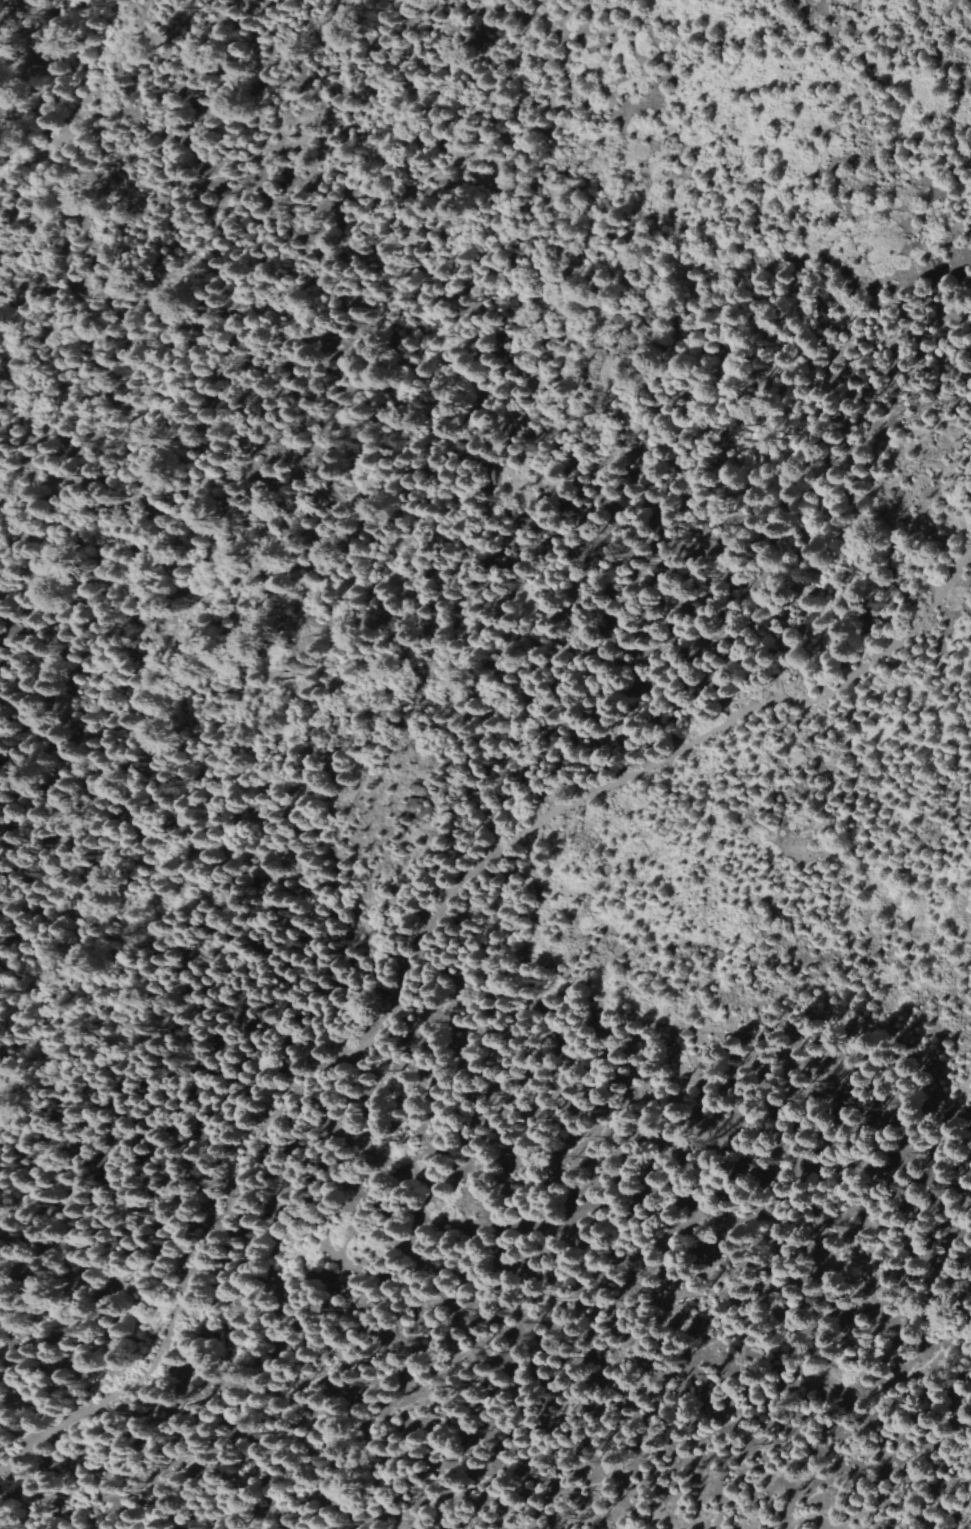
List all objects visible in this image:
road: (84, 96)
road: (419, 944)
road: (483, 1159)

